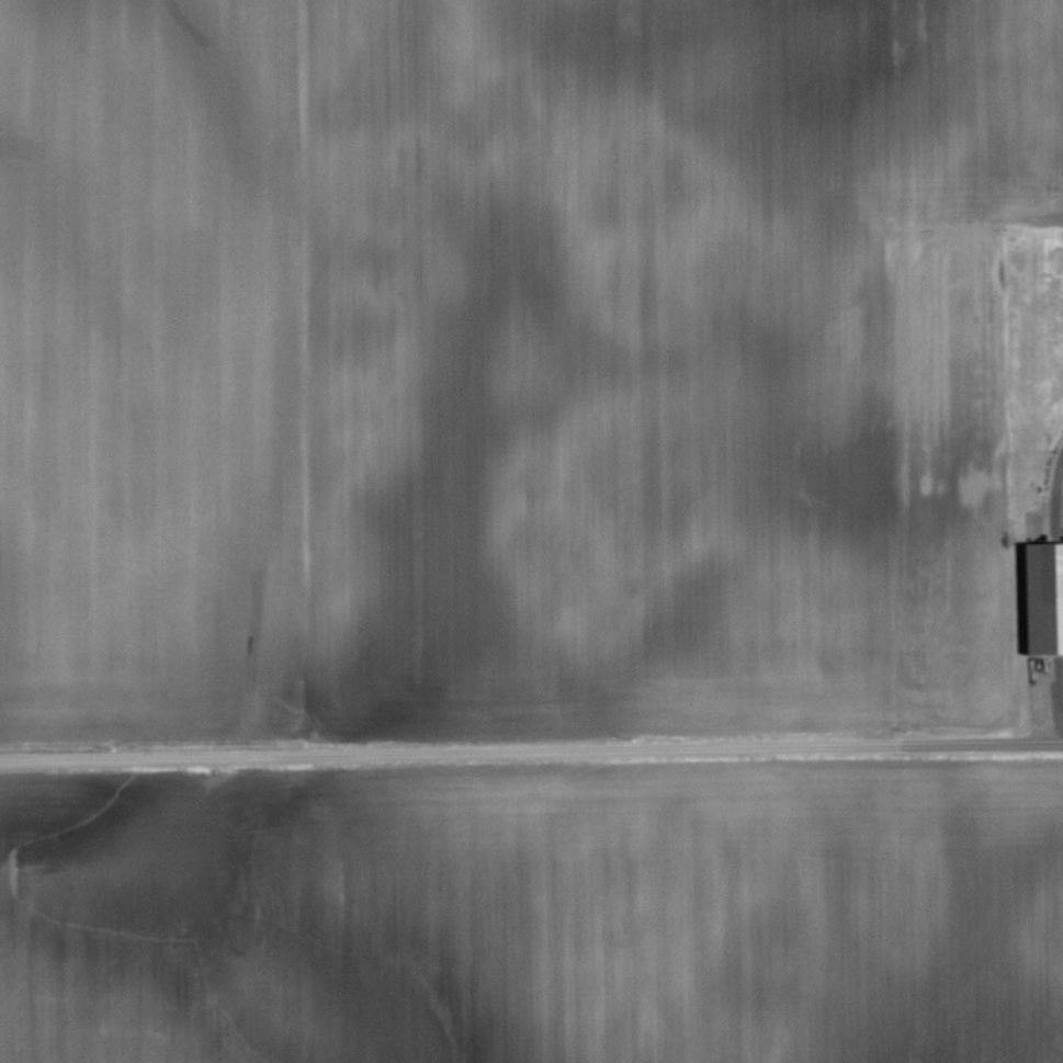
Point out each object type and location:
road: (1055, 486)
building: (1044, 598)
road: (531, 749)

